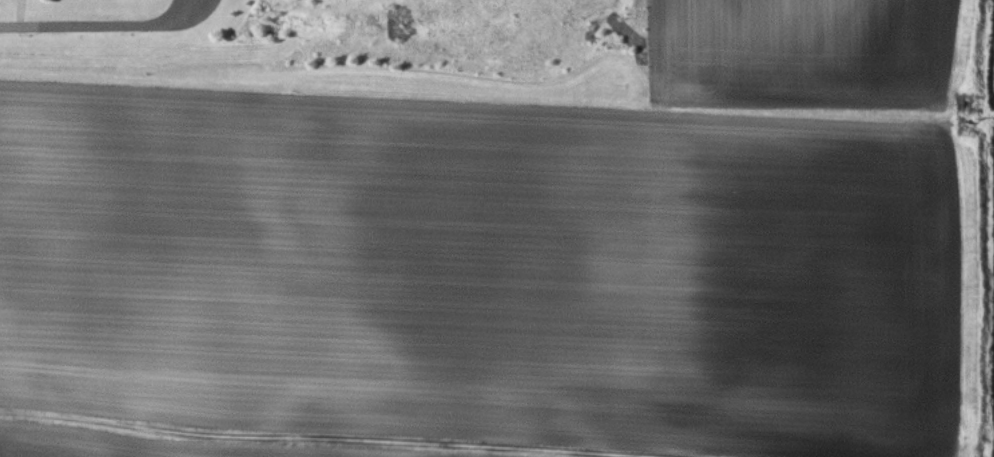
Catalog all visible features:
road: (113, 26)

